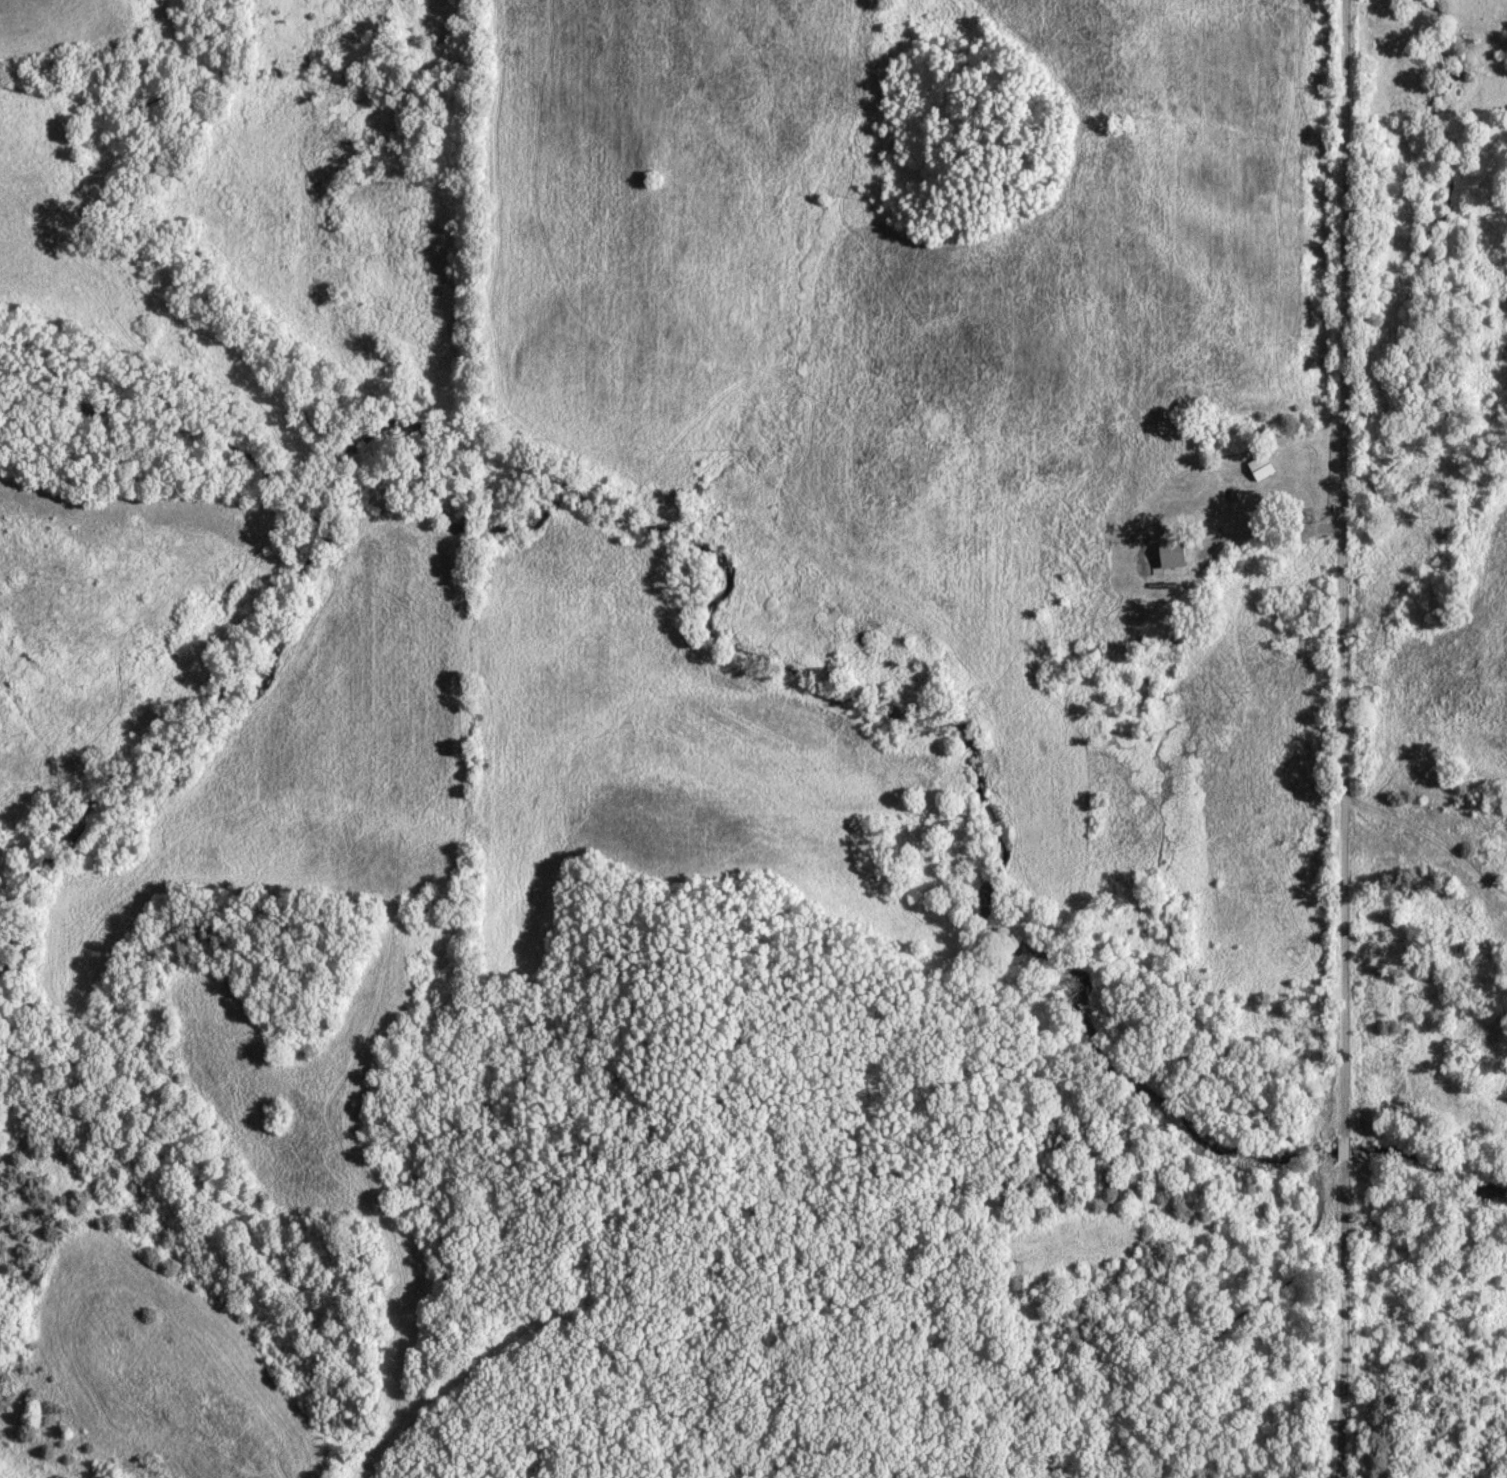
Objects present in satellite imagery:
building: (1261, 468)
road: (1254, 530)
building: (1173, 555)
road: (1345, 608)
road: (1338, 1347)

